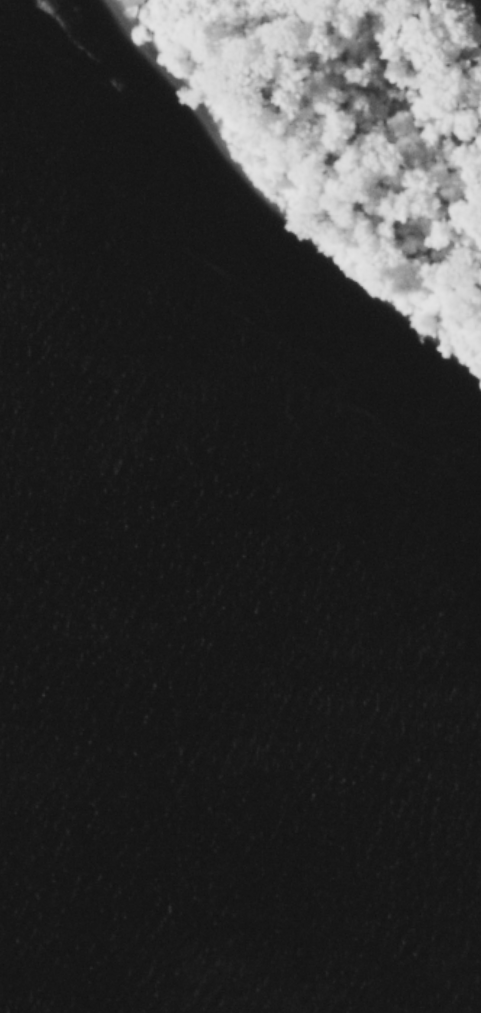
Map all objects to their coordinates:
river: (75, 942)

